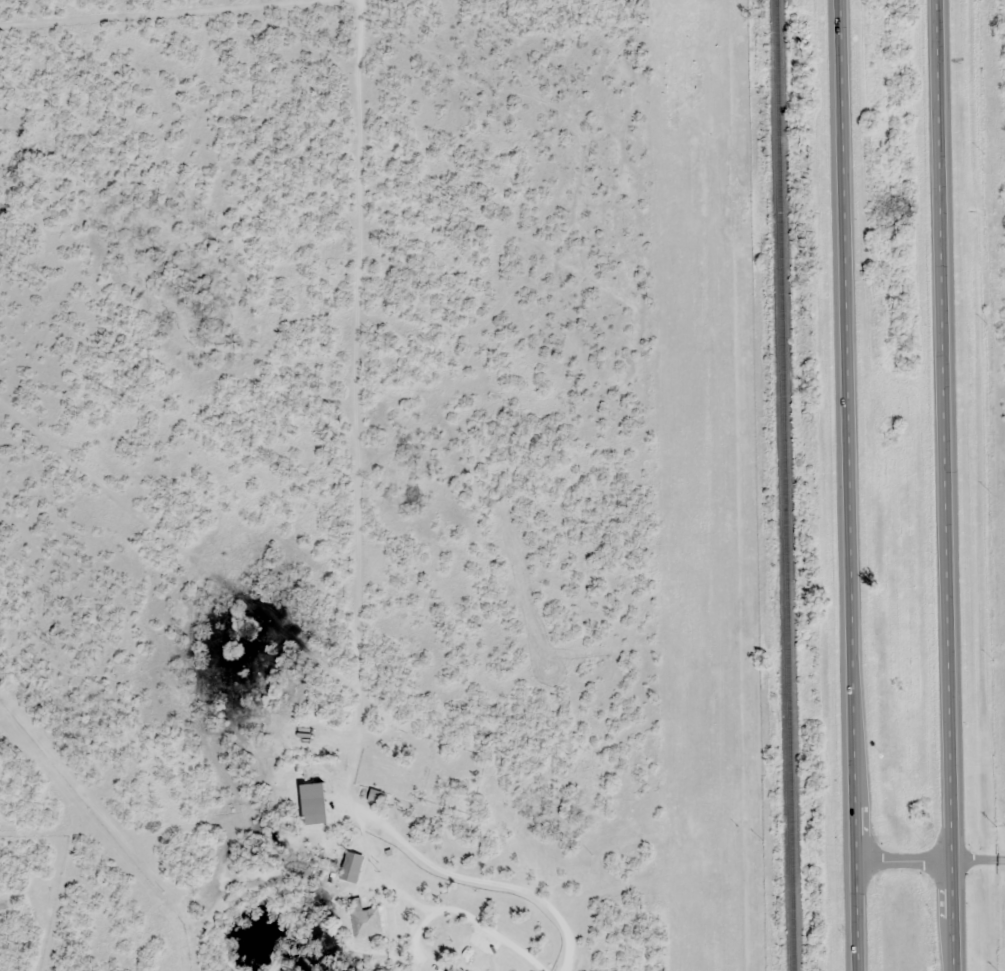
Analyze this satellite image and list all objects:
railway: (787, 485)
road: (850, 485)
road: (947, 485)
building: (309, 806)
road: (931, 864)
building: (347, 869)
road: (485, 882)
building: (361, 923)
building: (449, 969)

